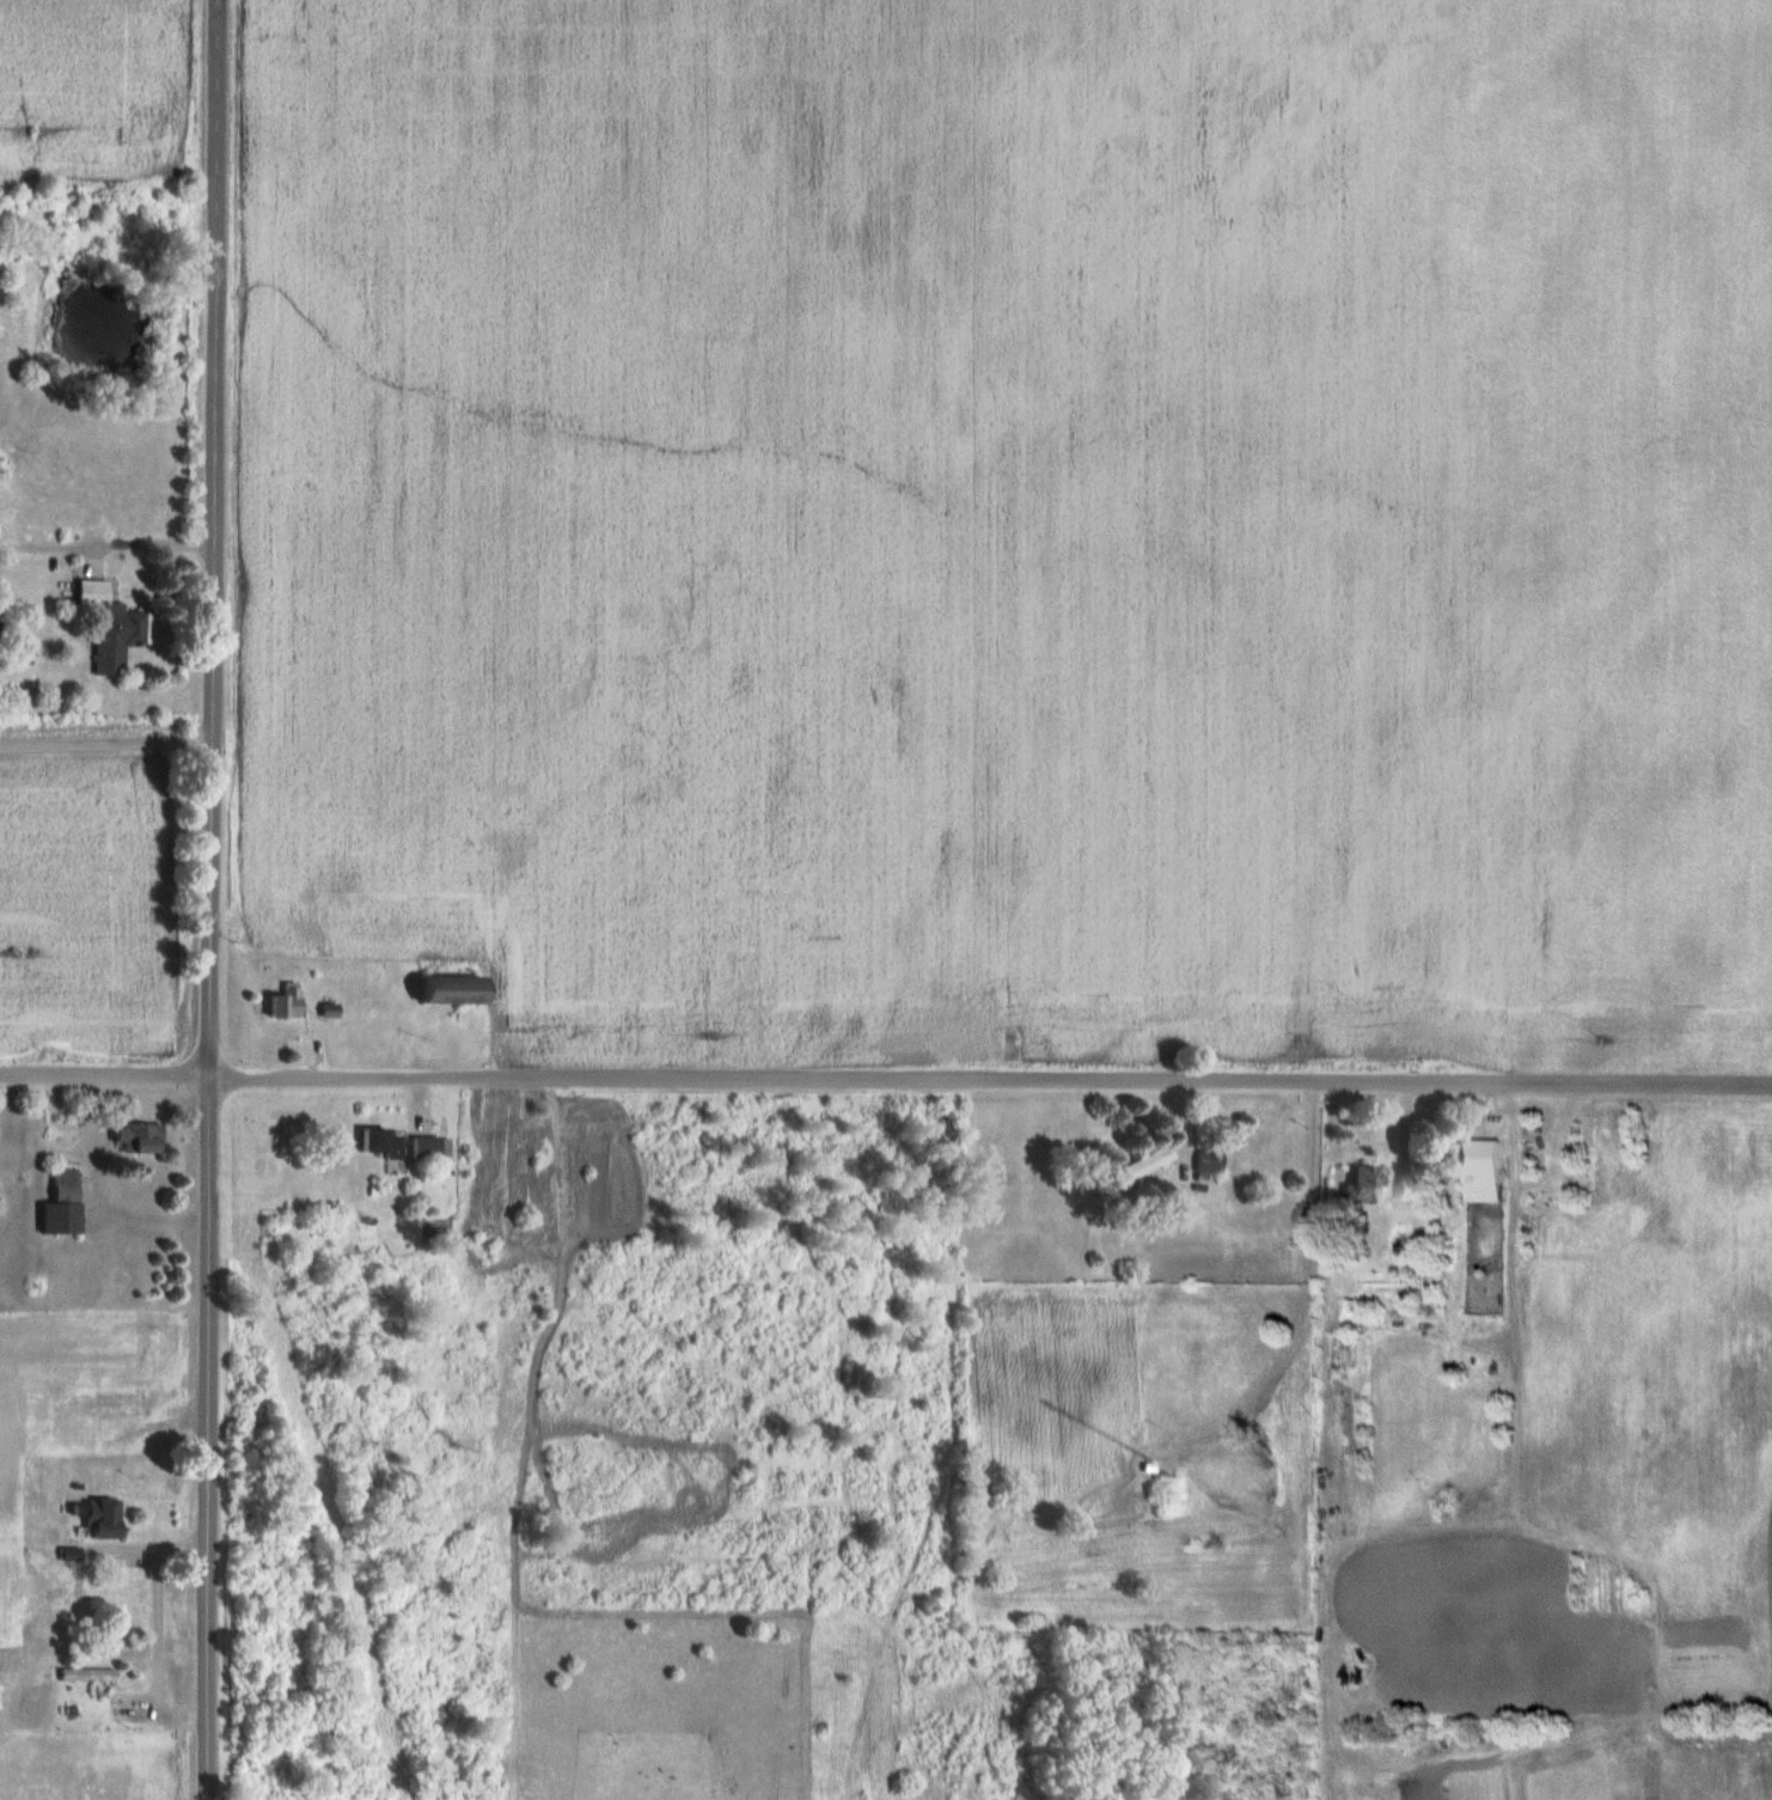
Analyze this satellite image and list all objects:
road: (148, 541)
building: (114, 629)
road: (106, 742)
road: (210, 899)
building: (453, 991)
building: (285, 1003)
road: (886, 1080)
building: (139, 1139)
building: (381, 1143)
building: (427, 1148)
building: (1210, 1161)
building: (1148, 1164)
building: (1478, 1166)
building: (1367, 1182)
building: (1414, 1188)
building: (63, 1204)
building: (77, 1428)
building: (104, 1519)
road: (161, 1609)
building: (88, 1676)

